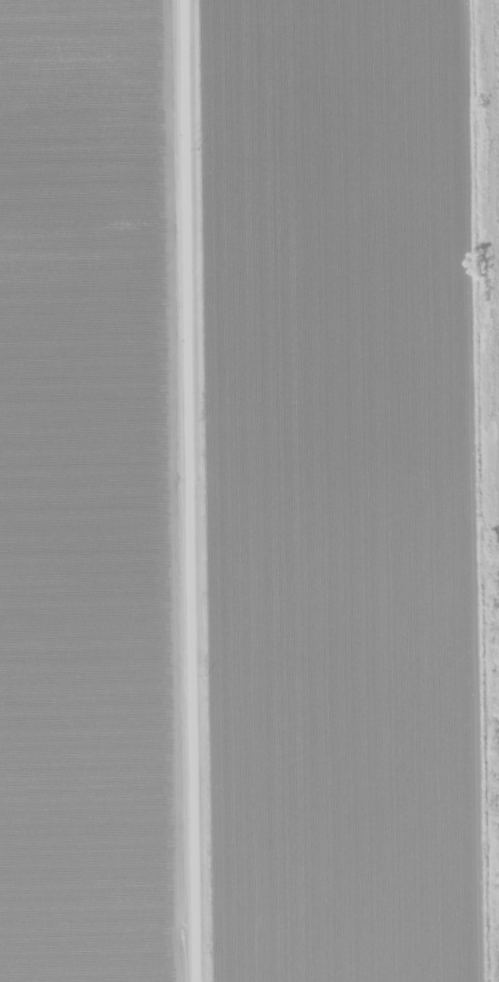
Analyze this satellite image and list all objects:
road: (192, 491)

